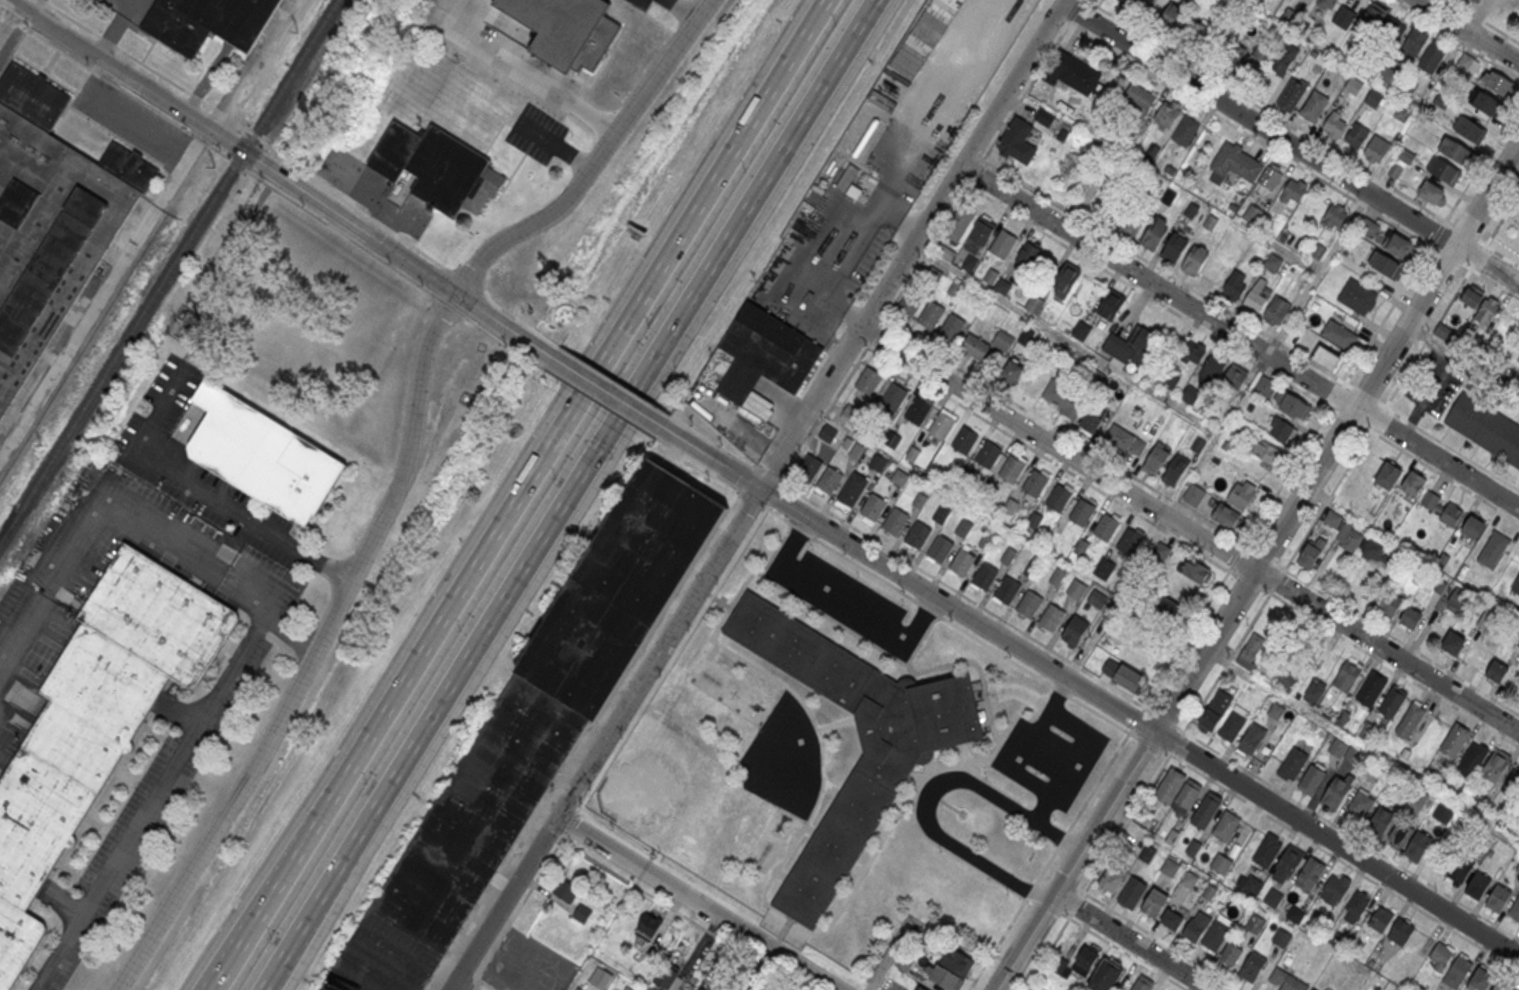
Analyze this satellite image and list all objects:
building: (1132, 1)
parking lot: (641, 3)
parking lot: (666, 3)
building: (1326, 4)
parking lot: (131, 9)
road: (680, 9)
building: (1167, 14)
building: (1344, 17)
building: (1371, 20)
building: (208, 21)
building: (566, 29)
road: (1467, 31)
building: (1202, 32)
building: (1393, 32)
road: (13, 33)
building: (1412, 45)
building: (1264, 50)
building: (1234, 53)
parking lot: (497, 54)
building: (1431, 58)
building: (1284, 59)
building: (1465, 65)
building: (1073, 72)
building: (1387, 75)
building: (1498, 84)
road: (539, 85)
building: (1407, 88)
building: (1291, 95)
building: (1138, 99)
building: (1373, 99)
building: (1439, 103)
building: (1314, 105)
building: (1487, 105)
building: (1168, 113)
building: (1043, 117)
parking lot: (132, 121)
building: (1333, 126)
road: (249, 129)
building: (1185, 129)
building: (1469, 129)
parking lot: (540, 135)
building: (1355, 137)
building: (1018, 140)
road: (1289, 145)
road: (217, 148)
building: (1377, 149)
building: (1455, 150)
building: (1234, 163)
building: (438, 167)
road: (719, 167)
building: (1443, 170)
road: (275, 172)
building: (1269, 176)
road: (972, 177)
road: (764, 183)
building: (1294, 191)
building: (1432, 192)
building: (812, 197)
building: (1167, 197)
parking lot: (860, 199)
building: (1253, 215)
building: (1335, 216)
building: (50, 218)
building: (1132, 222)
building: (960, 223)
building: (982, 232)
building: (1155, 234)
building: (1002, 244)
building: (1398, 244)
building: (1174, 248)
road: (925, 251)
building: (1029, 256)
building: (1194, 261)
building: (1273, 263)
building: (1385, 264)
railway: (168, 272)
road: (1317, 274)
road: (465, 279)
building: (1066, 281)
building: (1235, 285)
road: (105, 293)
road: (489, 295)
building: (1255, 295)
building: (1357, 296)
road: (448, 304)
building: (909, 304)
building: (1034, 305)
building: (1110, 305)
building: (1480, 306)
building: (1276, 312)
building: (564, 314)
building: (930, 316)
road: (471, 320)
building: (951, 329)
building: (1081, 331)
road: (875, 332)
building: (1339, 334)
road: (1239, 337)
building: (1293, 337)
building: (1001, 340)
building: (1130, 346)
building: (975, 348)
building: (1191, 352)
building: (759, 355)
building: (1326, 359)
road: (596, 369)
building: (1212, 369)
building: (1015, 374)
road: (1439, 376)
building: (1235, 377)
building: (868, 379)
road: (623, 384)
building: (1263, 385)
road: (602, 389)
building: (894, 396)
building: (1063, 397)
road: (608, 402)
road: (627, 403)
building: (919, 410)
building: (849, 413)
building: (942, 423)
building: (1090, 423)
building: (1485, 427)
building: (1282, 431)
road: (1064, 432)
building: (827, 433)
building: (891, 438)
building: (964, 439)
building: (1125, 441)
building: (856, 450)
building: (1267, 451)
building: (912, 453)
building: (262, 454)
building: (988, 454)
road: (1049, 457)
building: (1155, 460)
building: (877, 462)
building: (809, 467)
parking lot: (198, 468)
road: (757, 468)
building: (1011, 468)
building: (1175, 470)
road: (770, 473)
building: (1388, 475)
road: (403, 476)
building: (899, 477)
building: (828, 480)
building: (1035, 483)
building: (1412, 484)
road: (739, 488)
building: (852, 488)
road: (116, 494)
building: (1194, 494)
road: (756, 495)
building: (1242, 495)
road: (751, 497)
building: (1058, 497)
building: (919, 500)
road: (203, 501)
building: (873, 506)
building: (1010, 506)
building: (1441, 509)
building: (1081, 512)
building: (941, 513)
building: (1226, 515)
building: (1034, 519)
building: (1332, 519)
building: (895, 520)
building: (1106, 525)
building: (964, 526)
building: (1473, 527)
road: (1190, 528)
building: (917, 534)
railway: (5, 535)
road: (793, 538)
building: (1348, 539)
building: (1130, 540)
building: (985, 541)
building: (1081, 546)
road: (1244, 546)
building: (939, 548)
building: (1493, 549)
building: (1162, 552)
building: (1376, 553)
building: (1008, 555)
road: (1238, 556)
building: (1309, 557)
building: (962, 561)
road: (1231, 566)
road: (1257, 566)
road: (527, 567)
building: (1104, 567)
building: (1031, 568)
building: (1195, 570)
building: (984, 575)
building: (1057, 576)
building: (1515, 585)
building: (1077, 588)
building: (1007, 589)
road: (964, 593)
building: (1097, 598)
parking lot: (847, 600)
road: (846, 602)
building: (1028, 603)
building: (1453, 603)
building: (1390, 604)
road: (266, 607)
building: (1168, 612)
building: (1410, 616)
road: (946, 617)
building: (1051, 617)
road: (924, 618)
road: (19, 623)
building: (1074, 629)
road: (1187, 637)
building: (1453, 642)
building: (1251, 650)
road: (672, 660)
building: (1497, 670)
road: (407, 673)
building: (1124, 675)
building: (1347, 676)
building: (1286, 680)
building: (1372, 688)
road: (1092, 691)
building: (1313, 694)
building: (1392, 701)
building: (1276, 711)
building: (1214, 713)
road: (1137, 718)
building: (95, 720)
building: (1410, 720)
building: (1233, 724)
road: (1131, 729)
building: (531, 734)
building: (1252, 738)
building: (1456, 739)
road: (1082, 742)
building: (1337, 748)
building: (1472, 759)
building: (894, 760)
road: (1019, 761)
building: (1293, 763)
building: (1496, 764)
building: (1312, 780)
building: (1512, 784)
building: (1177, 791)
road: (929, 792)
building: (1336, 793)
building: (1417, 799)
road: (150, 801)
building: (1360, 802)
building: (1206, 809)
building: (1442, 813)
building: (1380, 821)
building: (1226, 825)
building: (1400, 835)
road: (355, 840)
road: (1313, 842)
building: (1418, 846)
building: (1267, 849)
building: (1289, 862)
building: (1221, 863)
building: (1169, 866)
building: (1457, 873)
building: (1310, 874)
building: (1111, 879)
building: (1253, 884)
building: (1478, 885)
building: (1334, 888)
building: (565, 889)
building: (1132, 893)
building: (1273, 896)
building: (1498, 897)
building: (1154, 902)
building: (1358, 902)
road: (696, 903)
road: (677, 910)
building: (1515, 910)
building: (583, 913)
building: (1295, 913)
building: (1172, 919)
building: (1380, 919)
building: (1255, 923)
building: (649, 926)
building: (1196, 926)
building: (1400, 931)
building: (1216, 934)
building: (1282, 937)
road: (1131, 942)
building: (1230, 953)
road: (892, 954)
building: (1441, 955)
building: (1085, 961)
building: (957, 962)
building: (904, 964)
parking lot: (526, 965)
road: (225, 966)
building: (1253, 966)
building: (1457, 970)
building: (1105, 976)
building: (667, 978)
building: (600, 979)
building: (945, 979)
building: (1481, 979)
building: (1287, 980)
road: (471, 984)
road: (484, 984)
building: (1142, 984)
road: (458, 987)
building: (1500, 987)
building: (920, 988)
building: (578, 989)
building: (700, 989)
building: (1314, 989)

